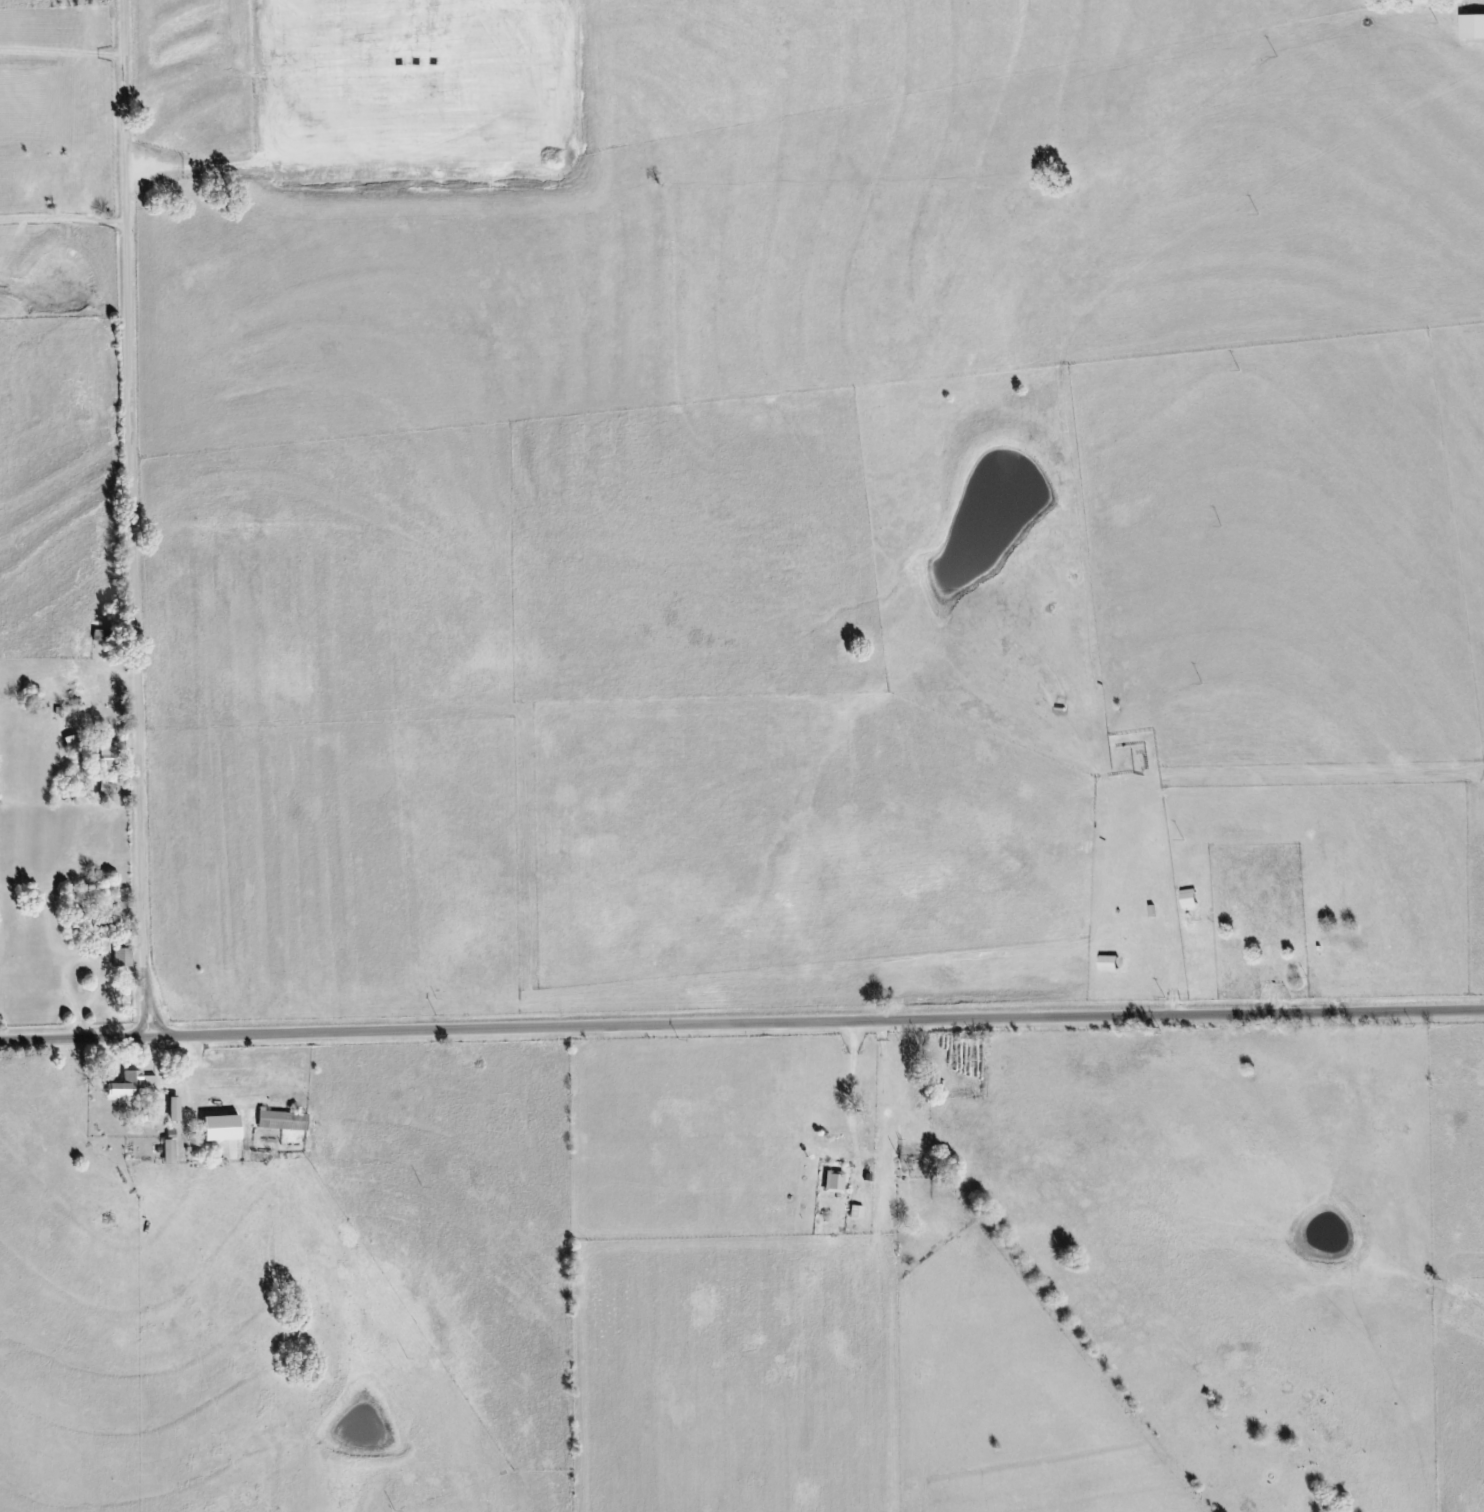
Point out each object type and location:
building: (1471, 27)
road: (62, 215)
road: (131, 517)
building: (112, 756)
building: (1187, 898)
building: (123, 957)
building: (1107, 962)
road: (741, 1019)
building: (133, 1086)
building: (176, 1109)
building: (281, 1120)
building: (225, 1127)

